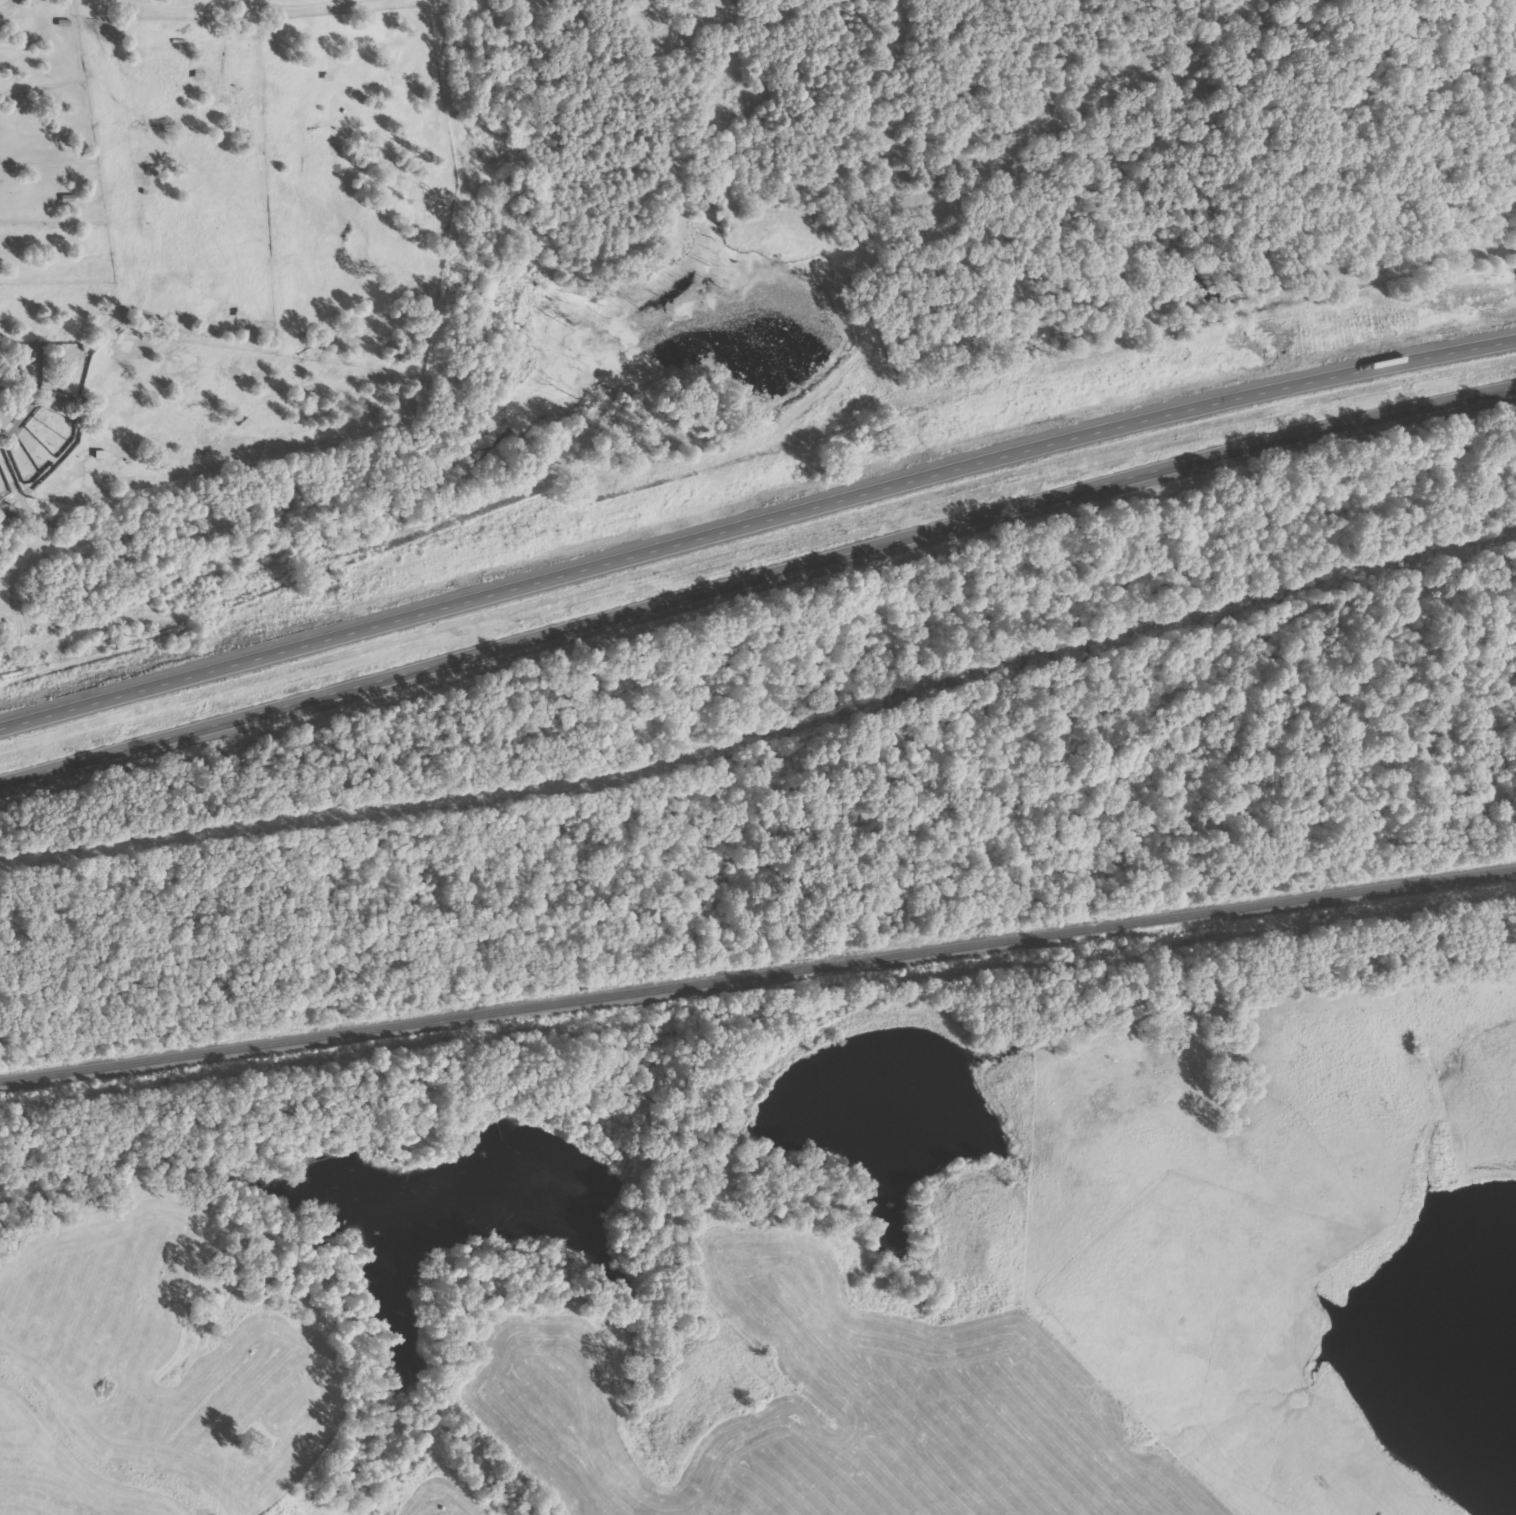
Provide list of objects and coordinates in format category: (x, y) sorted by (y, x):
road: (175, 0)
road: (773, 11)
building: (3, 418)
road: (755, 515)
road: (756, 580)
railway: (757, 973)

